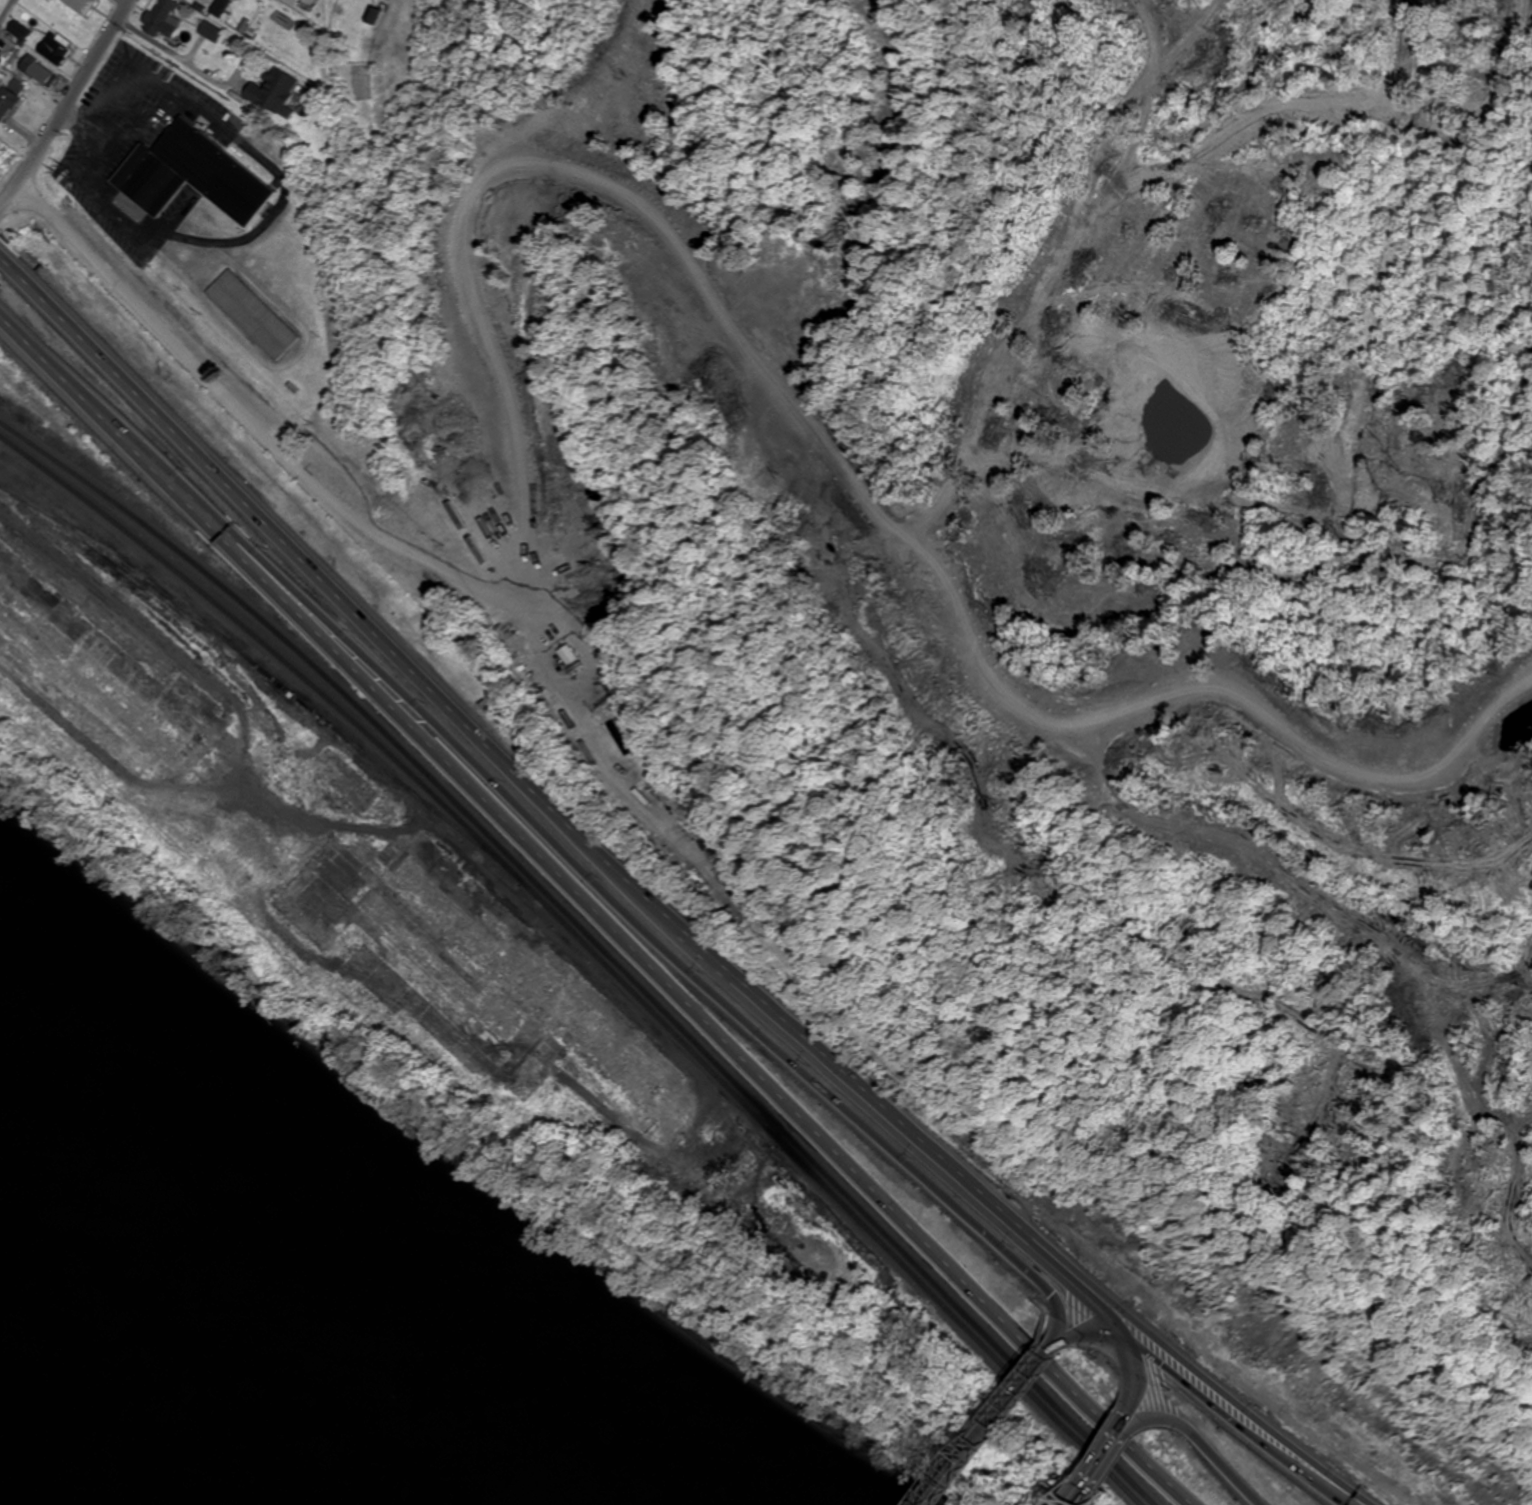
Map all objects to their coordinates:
building: (292, 1)
building: (80, 6)
road: (5, 8)
building: (163, 17)
building: (54, 47)
building: (38, 72)
building: (272, 89)
building: (7, 101)
road: (70, 109)
building: (190, 174)
building: (251, 315)
road: (314, 568)
building: (565, 655)
road: (592, 913)
road: (648, 929)
railway: (595, 941)
railway: (591, 947)
road: (825, 1050)
traffic signals: (1047, 1286)
road: (1100, 1314)
traffic signals: (1170, 1347)
traffic signals: (1158, 1364)
road: (1192, 1365)
road: (1210, 1401)
river: (140, 1414)
road: (993, 1425)
traffic signals: (1122, 1426)
road: (1199, 1440)
road: (1099, 1465)

